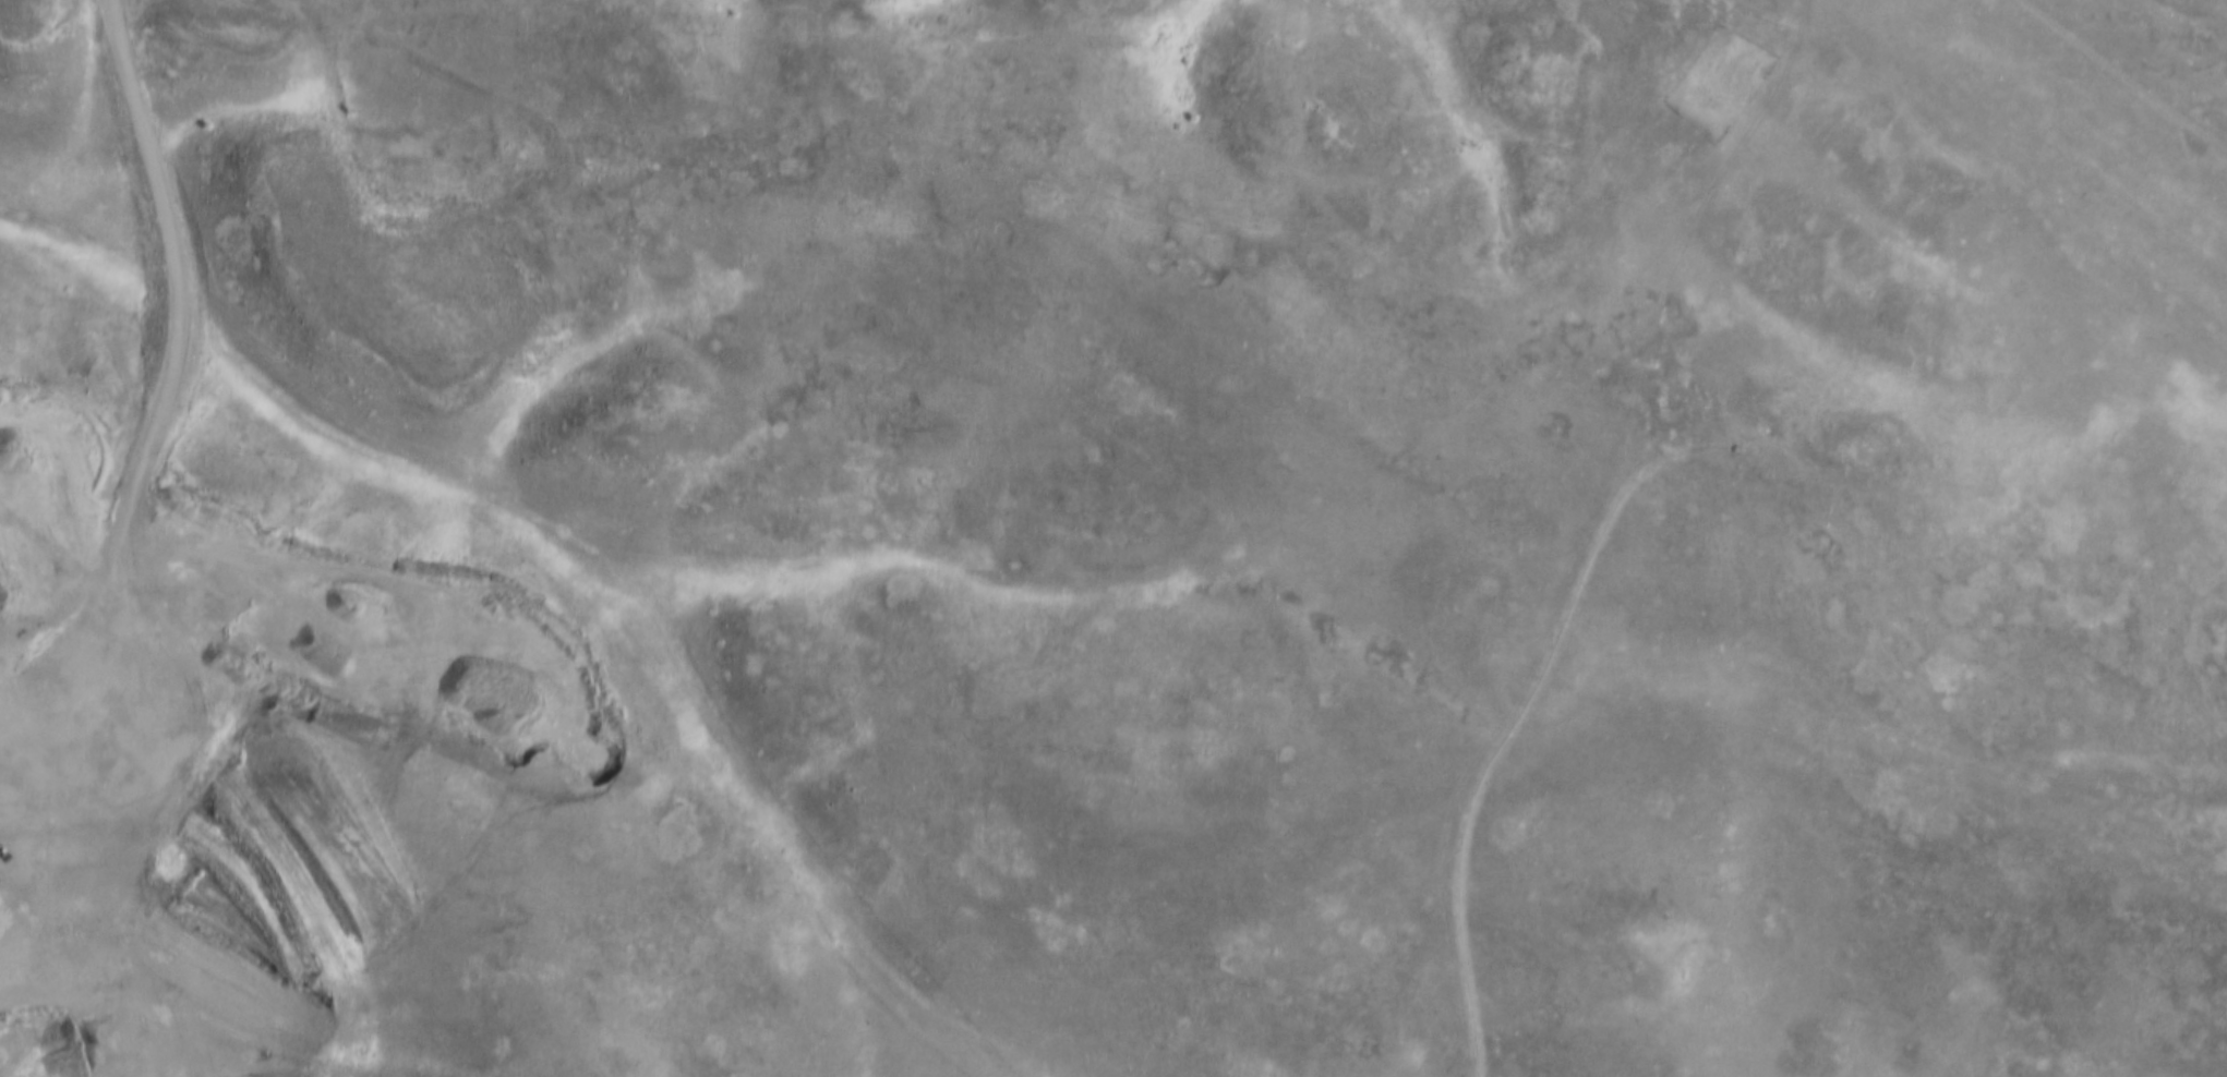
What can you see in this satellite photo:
road: (2127, 74)

